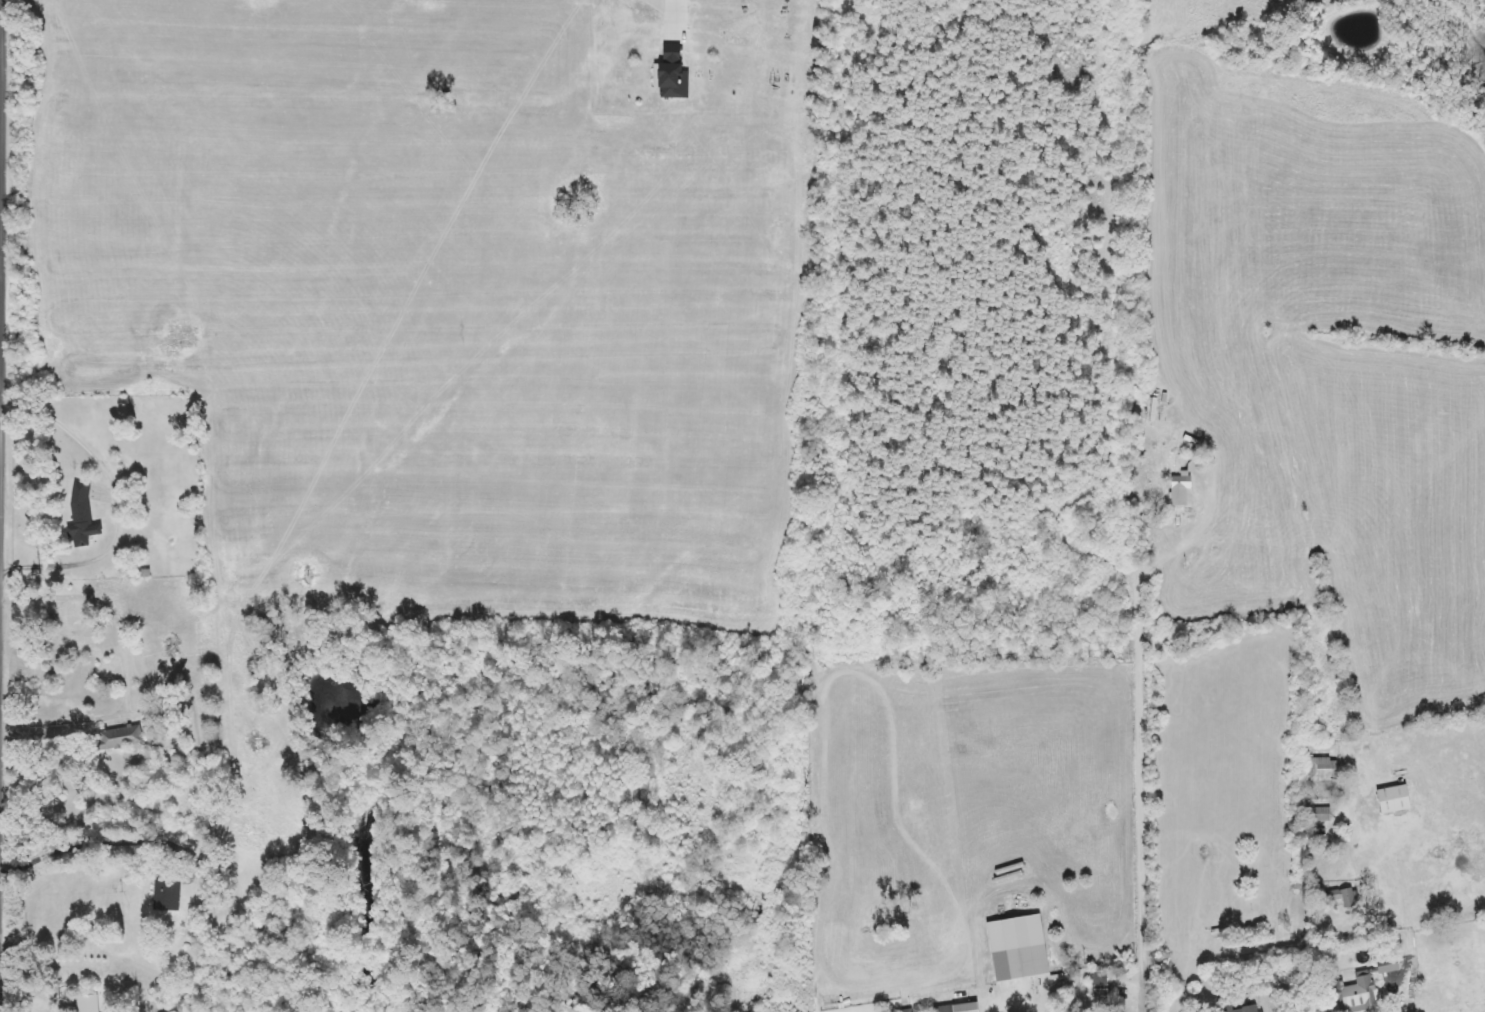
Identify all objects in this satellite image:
building: (671, 76)
building: (1181, 490)
building: (81, 516)
building: (134, 734)
building: (1323, 769)
building: (1395, 805)
building: (167, 895)
building: (1345, 897)
building: (1018, 948)
building: (1100, 988)
building: (1357, 994)
building: (88, 1004)
building: (956, 1008)

